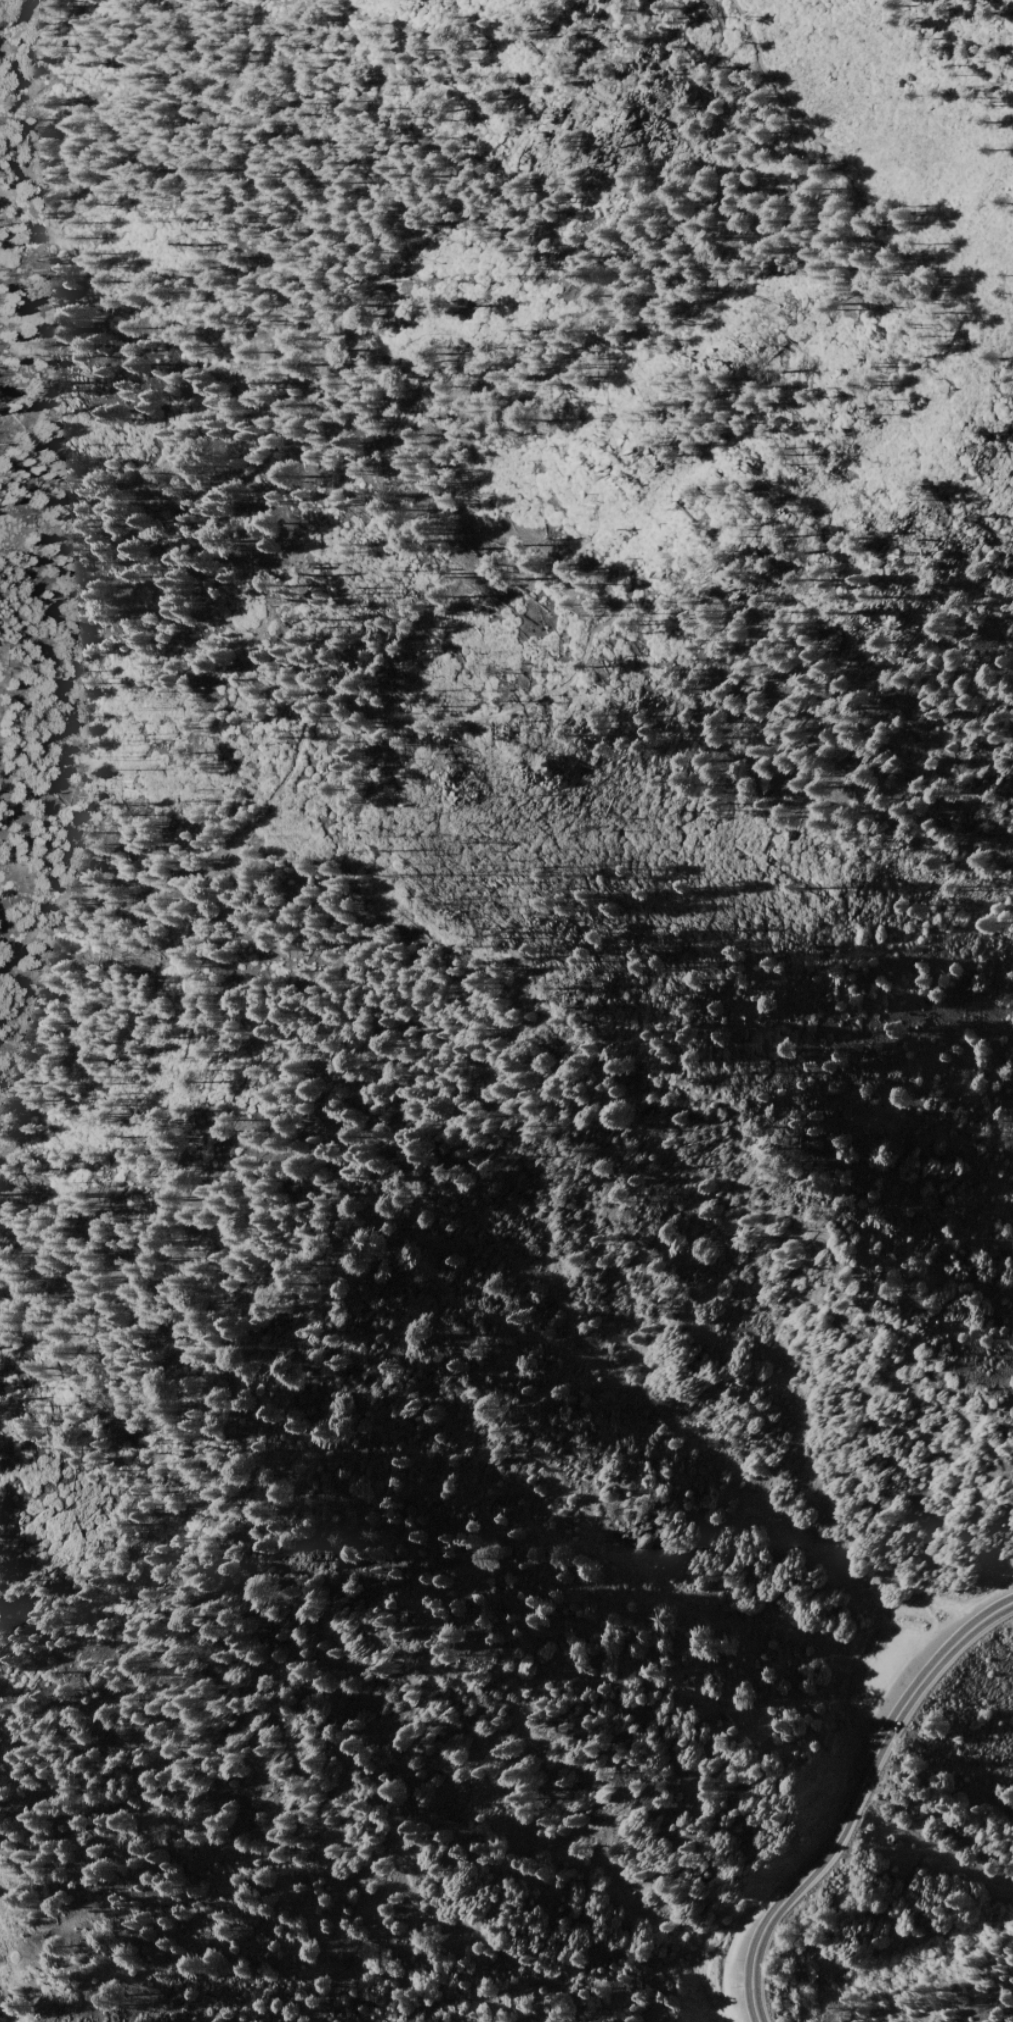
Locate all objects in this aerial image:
road: (526, 544)
road: (981, 1620)
road: (895, 1708)
road: (821, 1853)
road: (749, 1963)

